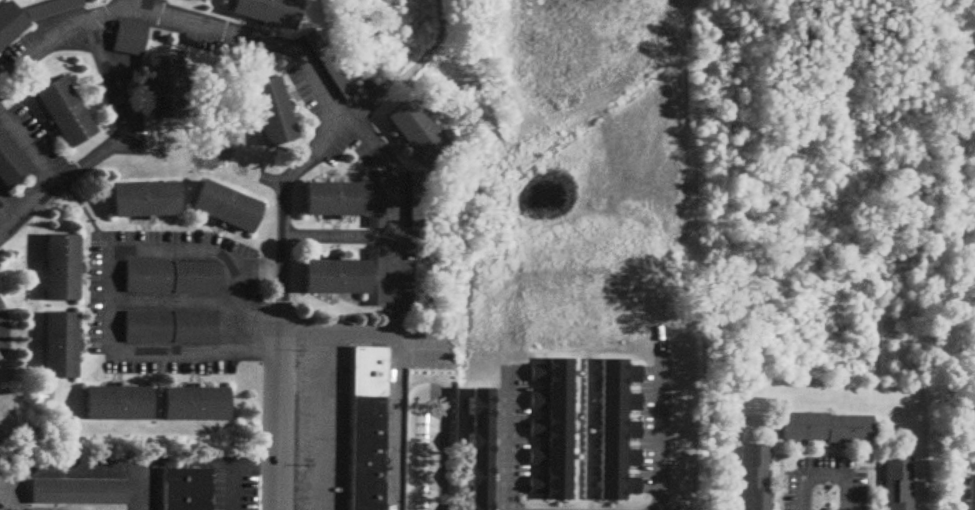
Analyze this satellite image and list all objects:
building: (198, 1)
building: (50, 7)
building: (264, 13)
road: (110, 17)
building: (10, 19)
building: (127, 35)
parking lot: (261, 61)
building: (326, 63)
road: (105, 68)
building: (161, 78)
park: (598, 100)
parking lot: (133, 102)
road: (334, 108)
building: (62, 110)
building: (267, 114)
building: (409, 128)
parking lot: (347, 140)
road: (29, 149)
parking lot: (26, 155)
building: (14, 163)
building: (141, 197)
building: (329, 197)
building: (374, 197)
road: (395, 197)
road: (11, 205)
building: (221, 208)
road: (29, 211)
road: (338, 234)
road: (110, 265)
building: (61, 269)
building: (374, 273)
building: (169, 274)
building: (330, 274)
parking lot: (168, 297)
building: (543, 316)
parking lot: (4, 324)
building: (167, 324)
road: (252, 329)
building: (479, 344)
building: (59, 345)
road: (318, 354)
road: (396, 361)
road: (297, 375)
road: (429, 397)
building: (116, 402)
building: (194, 402)
parking lot: (318, 414)
building: (971, 415)
road: (275, 420)
building: (540, 423)
building: (822, 425)
building: (595, 427)
parking lot: (626, 427)
building: (367, 428)
parking lot: (497, 430)
parking lot: (971, 433)
road: (650, 441)
road: (495, 442)
road: (317, 443)
road: (806, 444)
road: (836, 444)
building: (463, 447)
road: (822, 447)
road: (772, 454)
road: (874, 466)
road: (83, 474)
road: (821, 474)
building: (750, 476)
road: (255, 477)
parking lot: (822, 480)
building: (895, 483)
building: (186, 489)
parking lot: (235, 490)
building: (969, 492)
building: (73, 494)
road: (236, 494)
road: (771, 496)
road: (874, 503)

